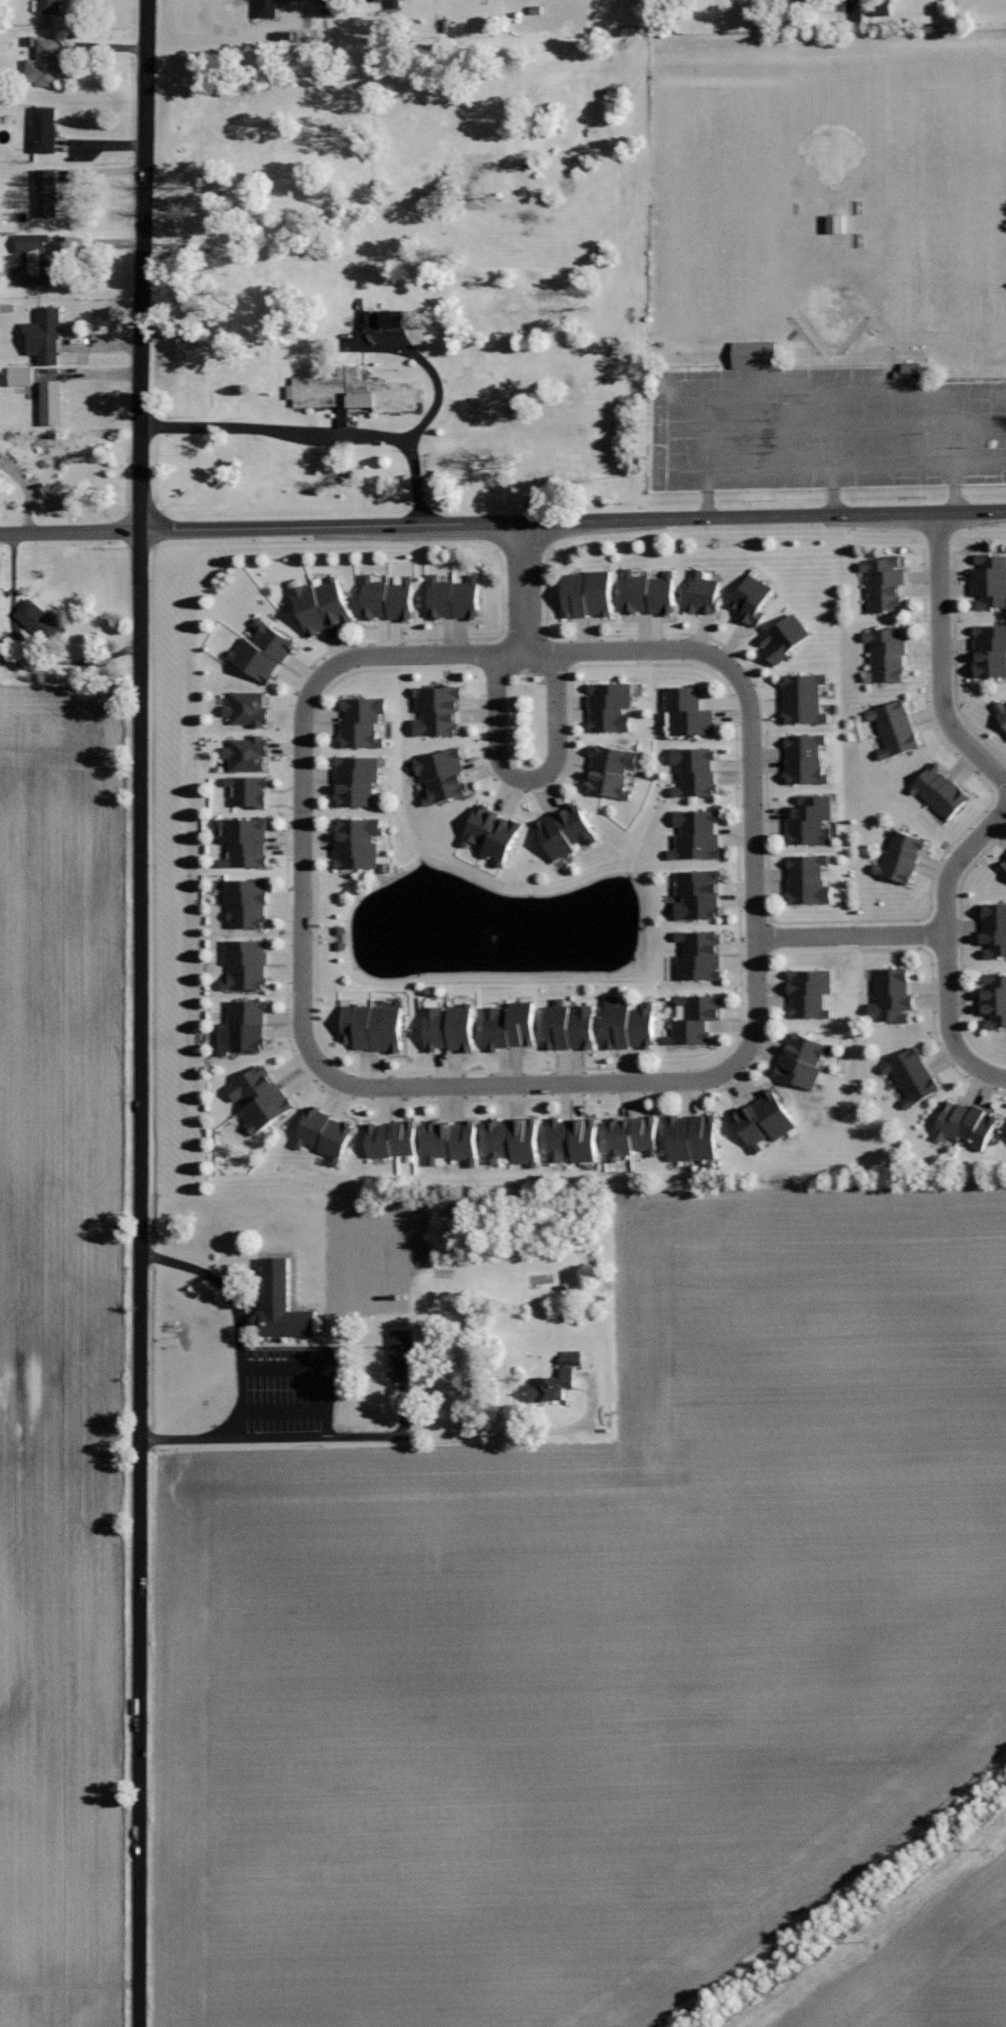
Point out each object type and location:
building: (372, 1)
building: (50, 7)
building: (267, 8)
building: (882, 8)
road: (854, 12)
building: (45, 64)
building: (44, 129)
park: (730, 130)
park: (832, 151)
building: (47, 192)
park: (939, 210)
building: (837, 224)
building: (39, 257)
park: (826, 263)
park: (728, 287)
park: (834, 310)
building: (391, 319)
building: (45, 336)
building: (755, 354)
road: (428, 368)
building: (908, 372)
building: (22, 376)
building: (353, 392)
building: (51, 402)
road: (318, 431)
parking lot: (821, 432)
building: (1, 454)
road: (573, 520)
road: (70, 532)
building: (989, 579)
building: (884, 582)
road: (524, 588)
building: (649, 591)
building: (703, 592)
building: (587, 593)
building: (453, 596)
building: (387, 599)
building: (752, 599)
building: (322, 604)
building: (40, 622)
building: (784, 637)
building: (990, 650)
building: (263, 651)
building: (887, 651)
road: (940, 658)
road: (746, 696)
building: (803, 697)
building: (610, 705)
building: (248, 708)
building: (438, 709)
building: (1001, 709)
building: (688, 710)
building: (362, 719)
building: (894, 728)
building: (247, 752)
building: (805, 758)
building: (611, 770)
building: (695, 770)
building: (442, 773)
building: (358, 779)
road: (527, 780)
building: (250, 791)
building: (941, 791)
building: (811, 819)
building: (565, 829)
road: (302, 831)
building: (490, 832)
building: (696, 834)
building: (246, 841)
building: (358, 841)
building: (900, 856)
building: (1003, 865)
building: (808, 878)
building: (698, 894)
building: (247, 900)
building: (994, 930)
road: (850, 936)
building: (339, 937)
road: (946, 946)
building: (700, 953)
building: (247, 964)
building: (810, 991)
building: (891, 994)
building: (994, 999)
road: (140, 1013)
building: (695, 1017)
building: (247, 1024)
building: (627, 1024)
building: (374, 1025)
building: (508, 1025)
building: (568, 1026)
building: (449, 1027)
building: (802, 1060)
building: (912, 1075)
road: (656, 1081)
building: (260, 1097)
building: (764, 1119)
building: (964, 1123)
building: (323, 1133)
building: (632, 1135)
building: (691, 1137)
building: (391, 1138)
building: (572, 1138)
building: (514, 1139)
building: (451, 1140)
building: (282, 1305)
road: (242, 1354)
building: (403, 1356)
road: (318, 1366)
building: (556, 1377)
road: (414, 1434)
railway: (852, 1909)

